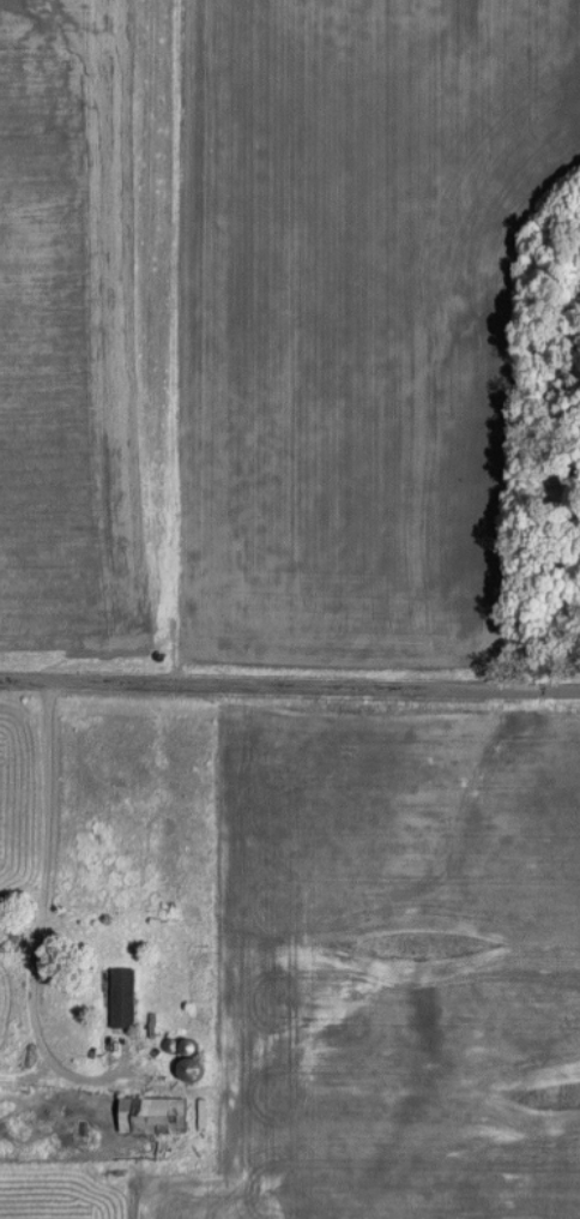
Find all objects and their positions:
road: (289, 674)
road: (38, 864)
road: (26, 1067)
road: (92, 1076)

